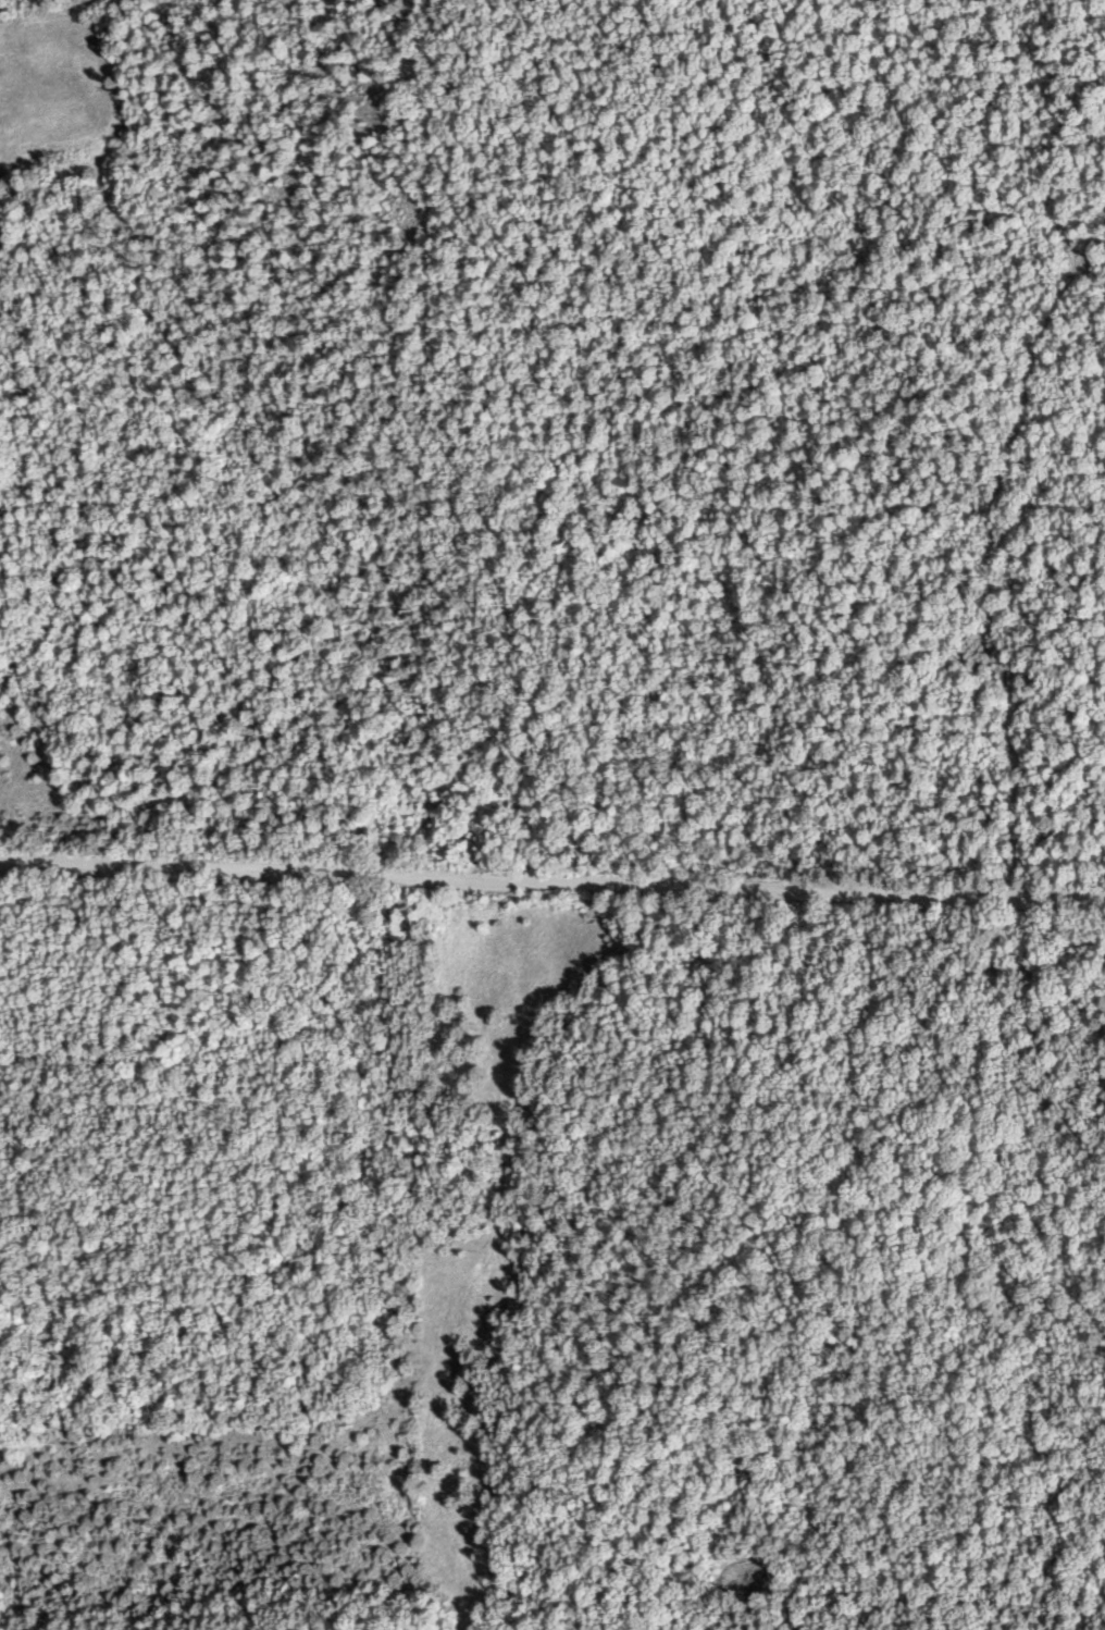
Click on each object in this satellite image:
road: (426, 437)
road: (552, 877)
road: (1097, 1495)

